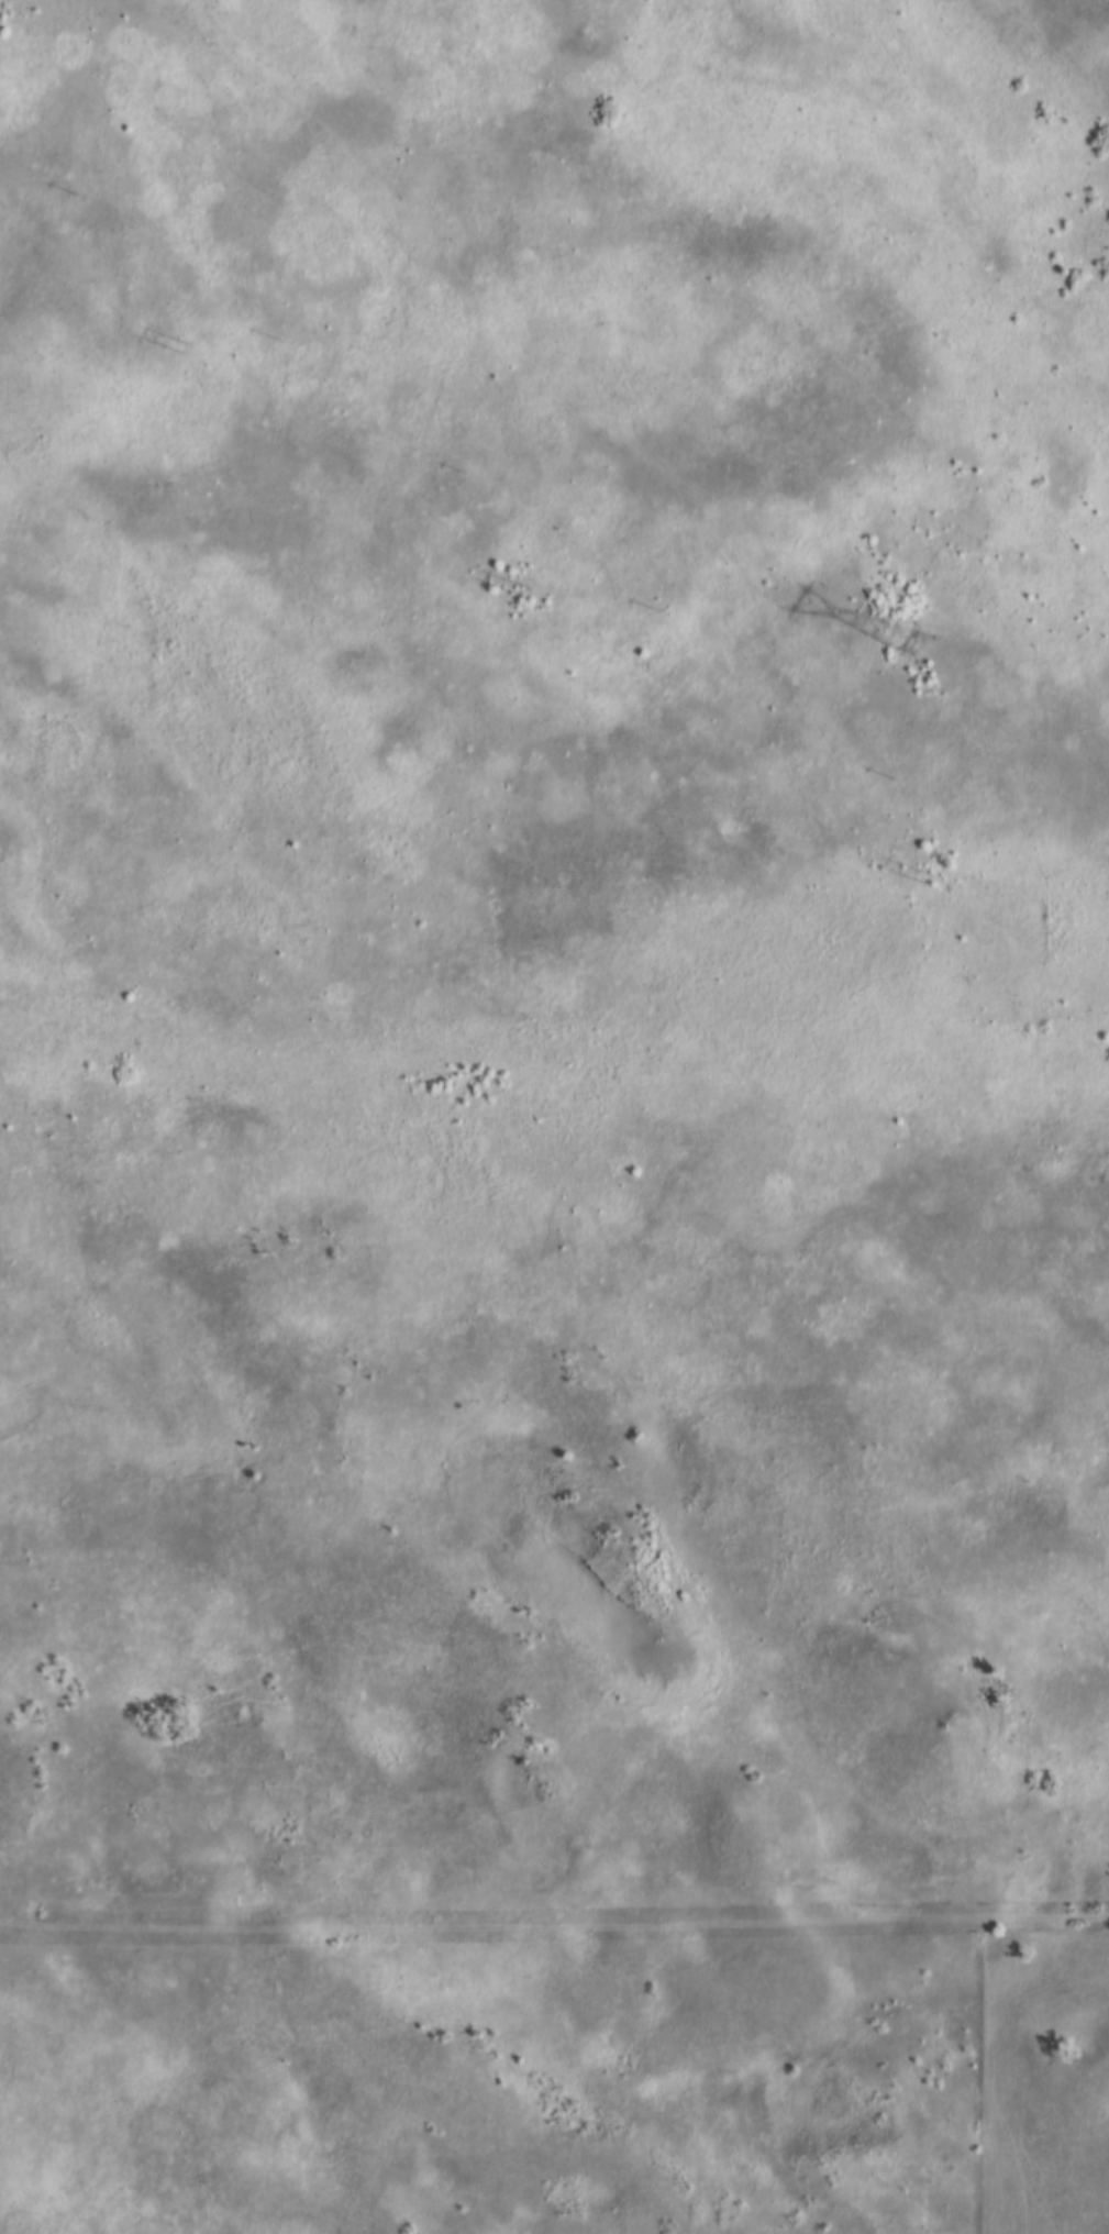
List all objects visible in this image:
power tower: (905, 646)

